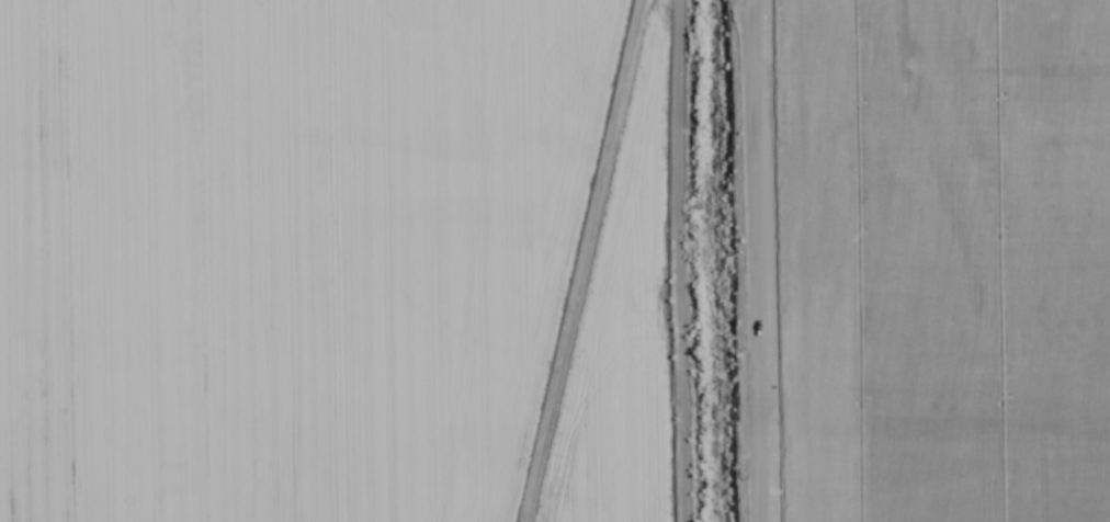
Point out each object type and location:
crop: (555, 261)

